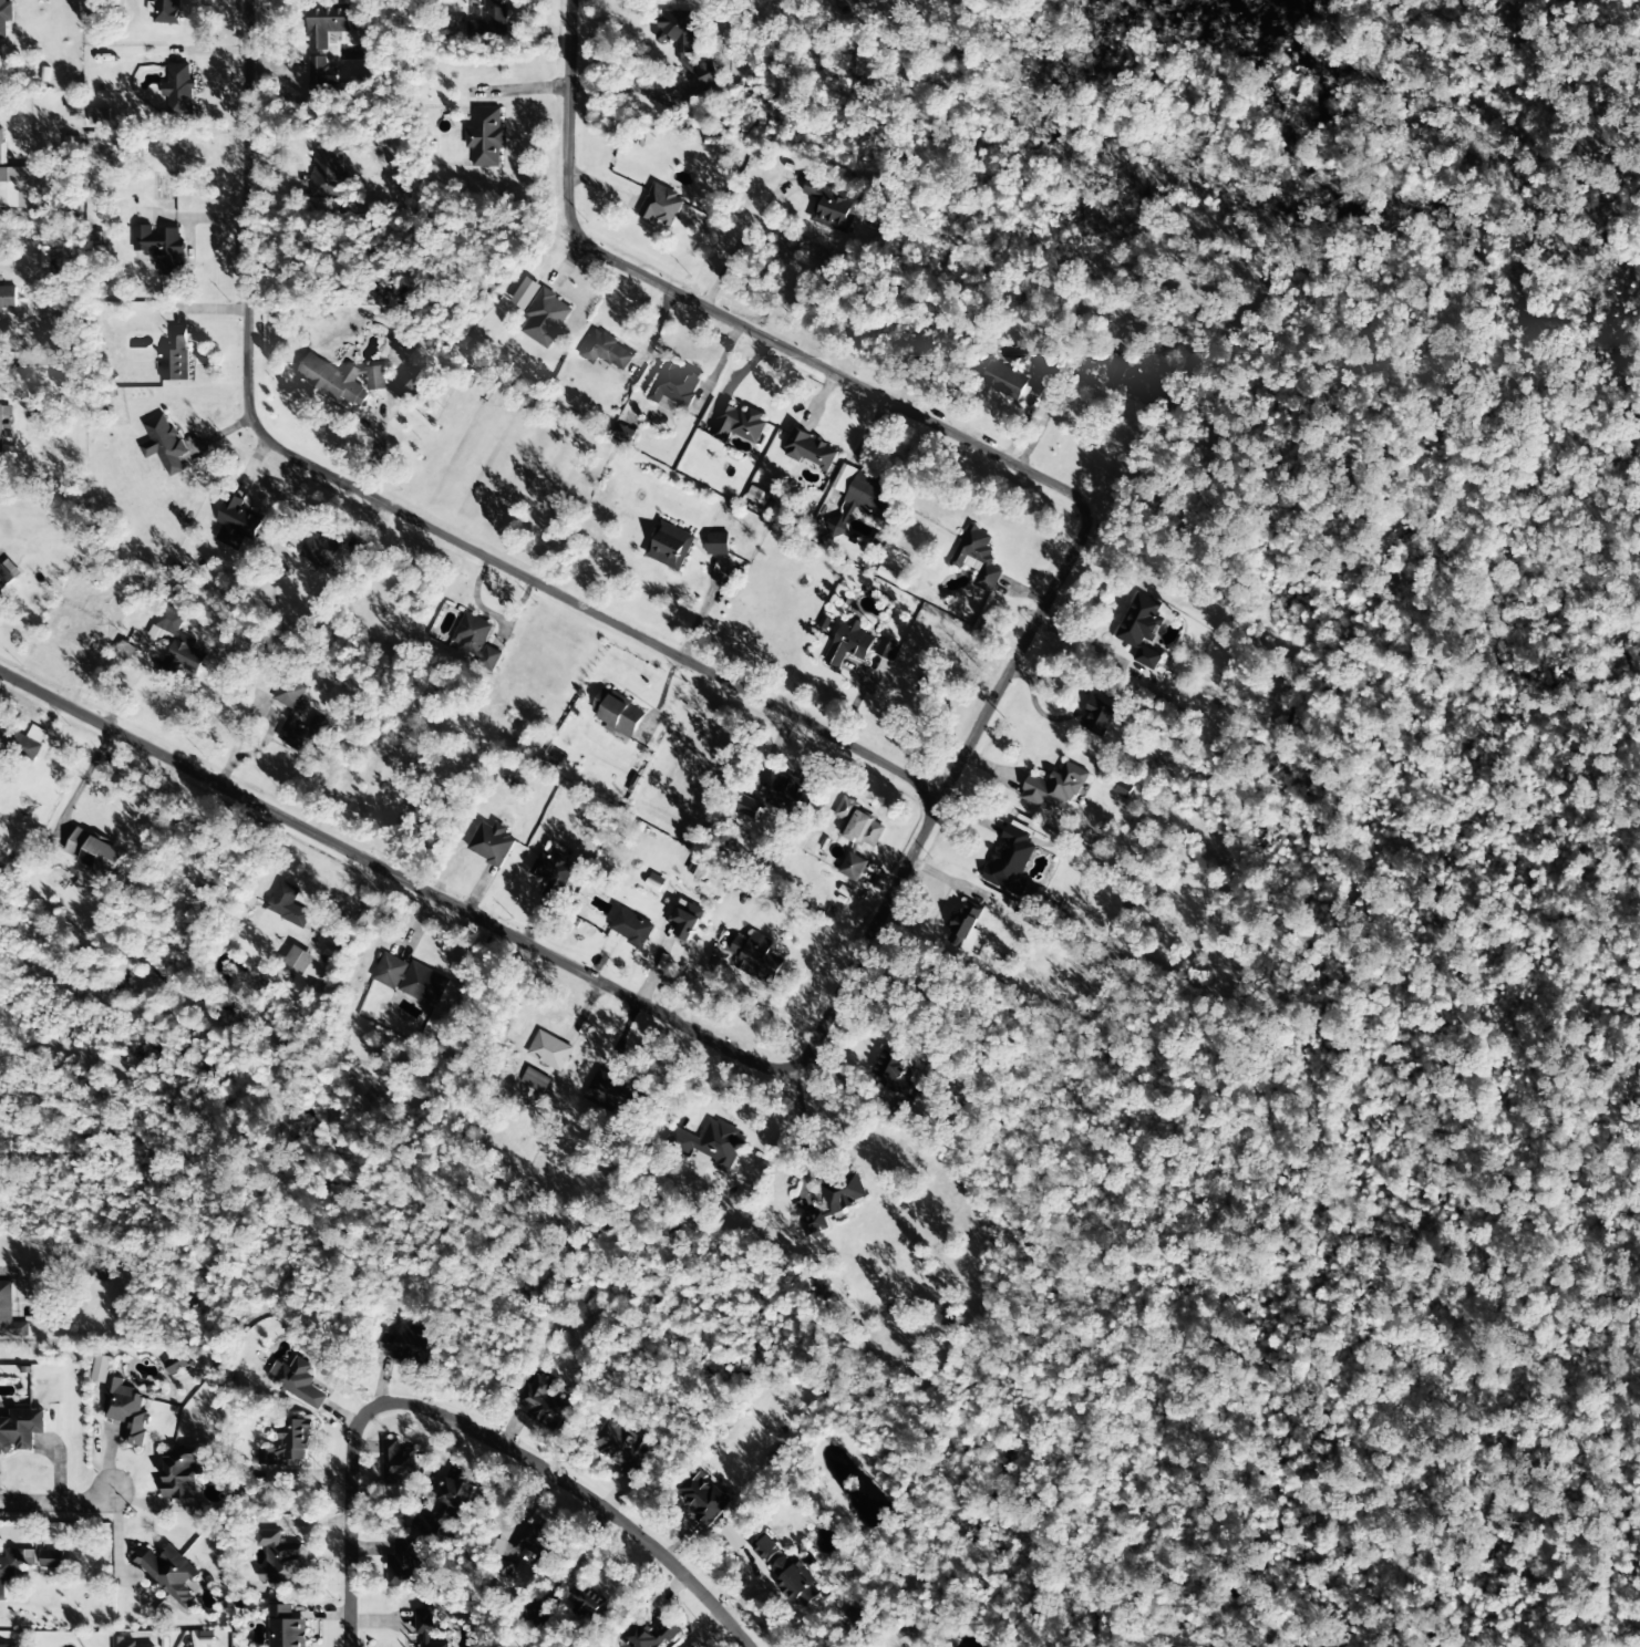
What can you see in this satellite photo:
building: (844, 2)
building: (4, 17)
building: (491, 21)
building: (329, 23)
building: (685, 44)
building: (321, 79)
road: (618, 90)
building: (180, 91)
building: (100, 116)
building: (486, 137)
building: (328, 174)
building: (14, 182)
building: (661, 206)
building: (832, 206)
building: (162, 248)
building: (525, 293)
building: (8, 298)
building: (545, 318)
road: (767, 332)
building: (606, 351)
building: (175, 356)
building: (1041, 373)
building: (375, 379)
building: (333, 381)
building: (1004, 381)
building: (1138, 384)
building: (674, 385)
building: (404, 386)
building: (736, 424)
building: (0, 433)
building: (625, 434)
building: (164, 445)
building: (809, 450)
building: (865, 493)
building: (756, 496)
road: (403, 507)
building: (237, 524)
building: (716, 543)
building: (669, 546)
building: (319, 551)
building: (977, 557)
building: (8, 574)
building: (1142, 630)
building: (471, 634)
building: (849, 643)
building: (176, 648)
building: (886, 650)
building: (488, 659)
road: (990, 692)
road: (252, 705)
building: (618, 715)
building: (1097, 717)
building: (297, 718)
building: (22, 742)
building: (1055, 788)
building: (790, 796)
building: (859, 826)
building: (491, 843)
building: (95, 854)
building: (1010, 861)
building: (695, 868)
building: (853, 868)
building: (553, 873)
building: (687, 920)
building: (963, 923)
building: (629, 926)
road: (534, 954)
building: (756, 959)
building: (299, 960)
building: (411, 980)
building: (549, 1050)
building: (895, 1075)
building: (612, 1089)
building: (709, 1143)
building: (834, 1202)
building: (97, 1272)
building: (9, 1315)
building: (406, 1344)
building: (176, 1365)
building: (299, 1384)
building: (122, 1403)
building: (541, 1403)
building: (20, 1430)
road: (474, 1432)
building: (289, 1446)
building: (622, 1449)
building: (398, 1463)
building: (182, 1471)
building: (458, 1493)
building: (703, 1498)
road: (66, 1504)
building: (423, 1524)
building: (733, 1537)
building: (534, 1541)
building: (764, 1548)
building: (279, 1558)
building: (53, 1560)
building: (405, 1564)
building: (11, 1568)
building: (169, 1574)
building: (795, 1582)
building: (585, 1603)
building: (537, 1616)
building: (426, 1627)
building: (906, 1629)
building: (649, 1636)
building: (124, 1643)
building: (7, 1646)

